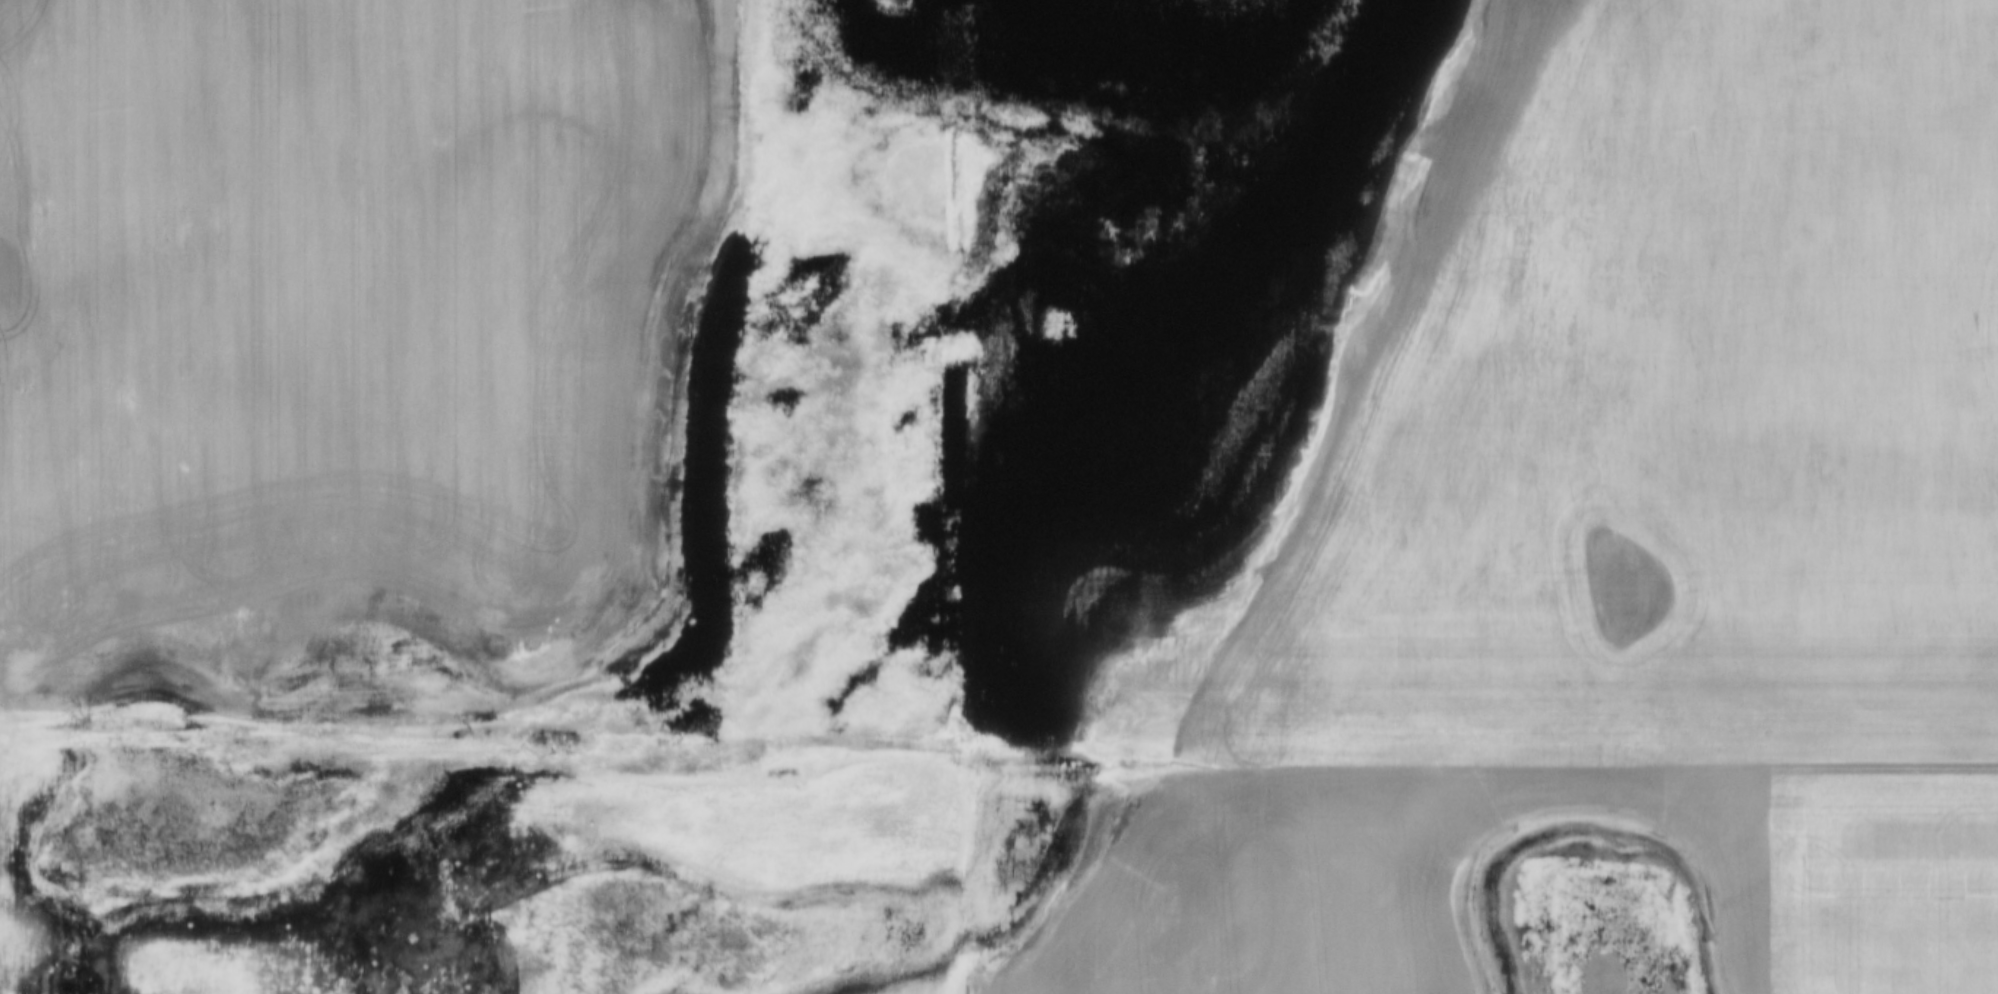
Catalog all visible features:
road: (999, 728)

